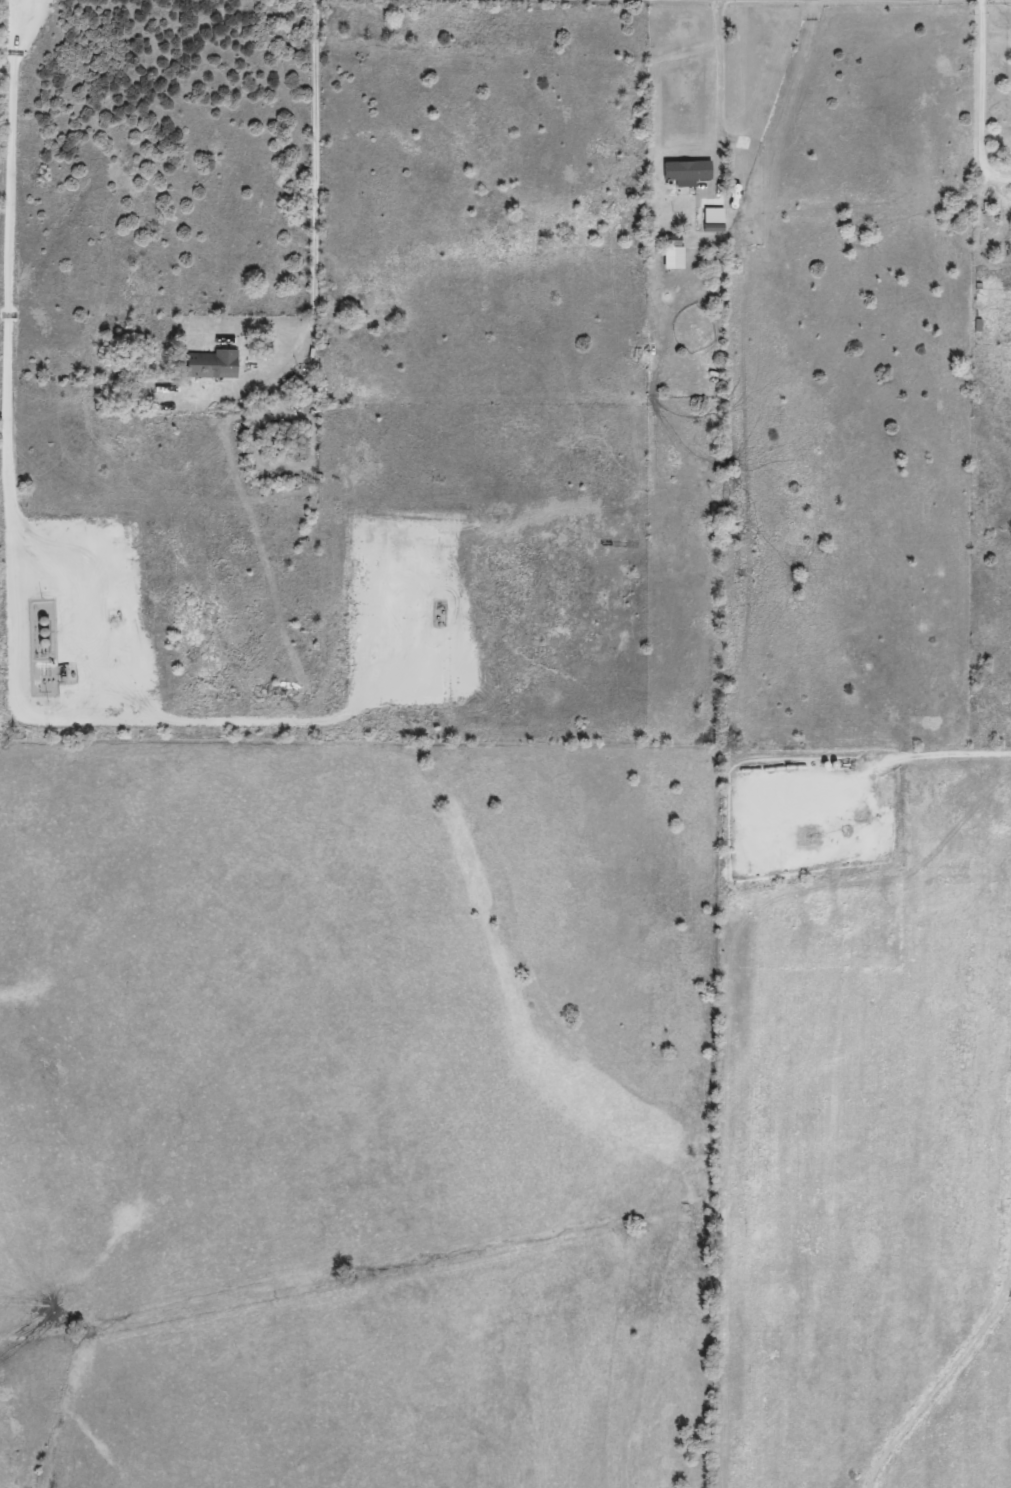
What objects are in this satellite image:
road: (719, 74)
road: (982, 98)
building: (689, 170)
road: (316, 193)
building: (675, 240)
building: (214, 364)
building: (302, 443)
road: (925, 754)

